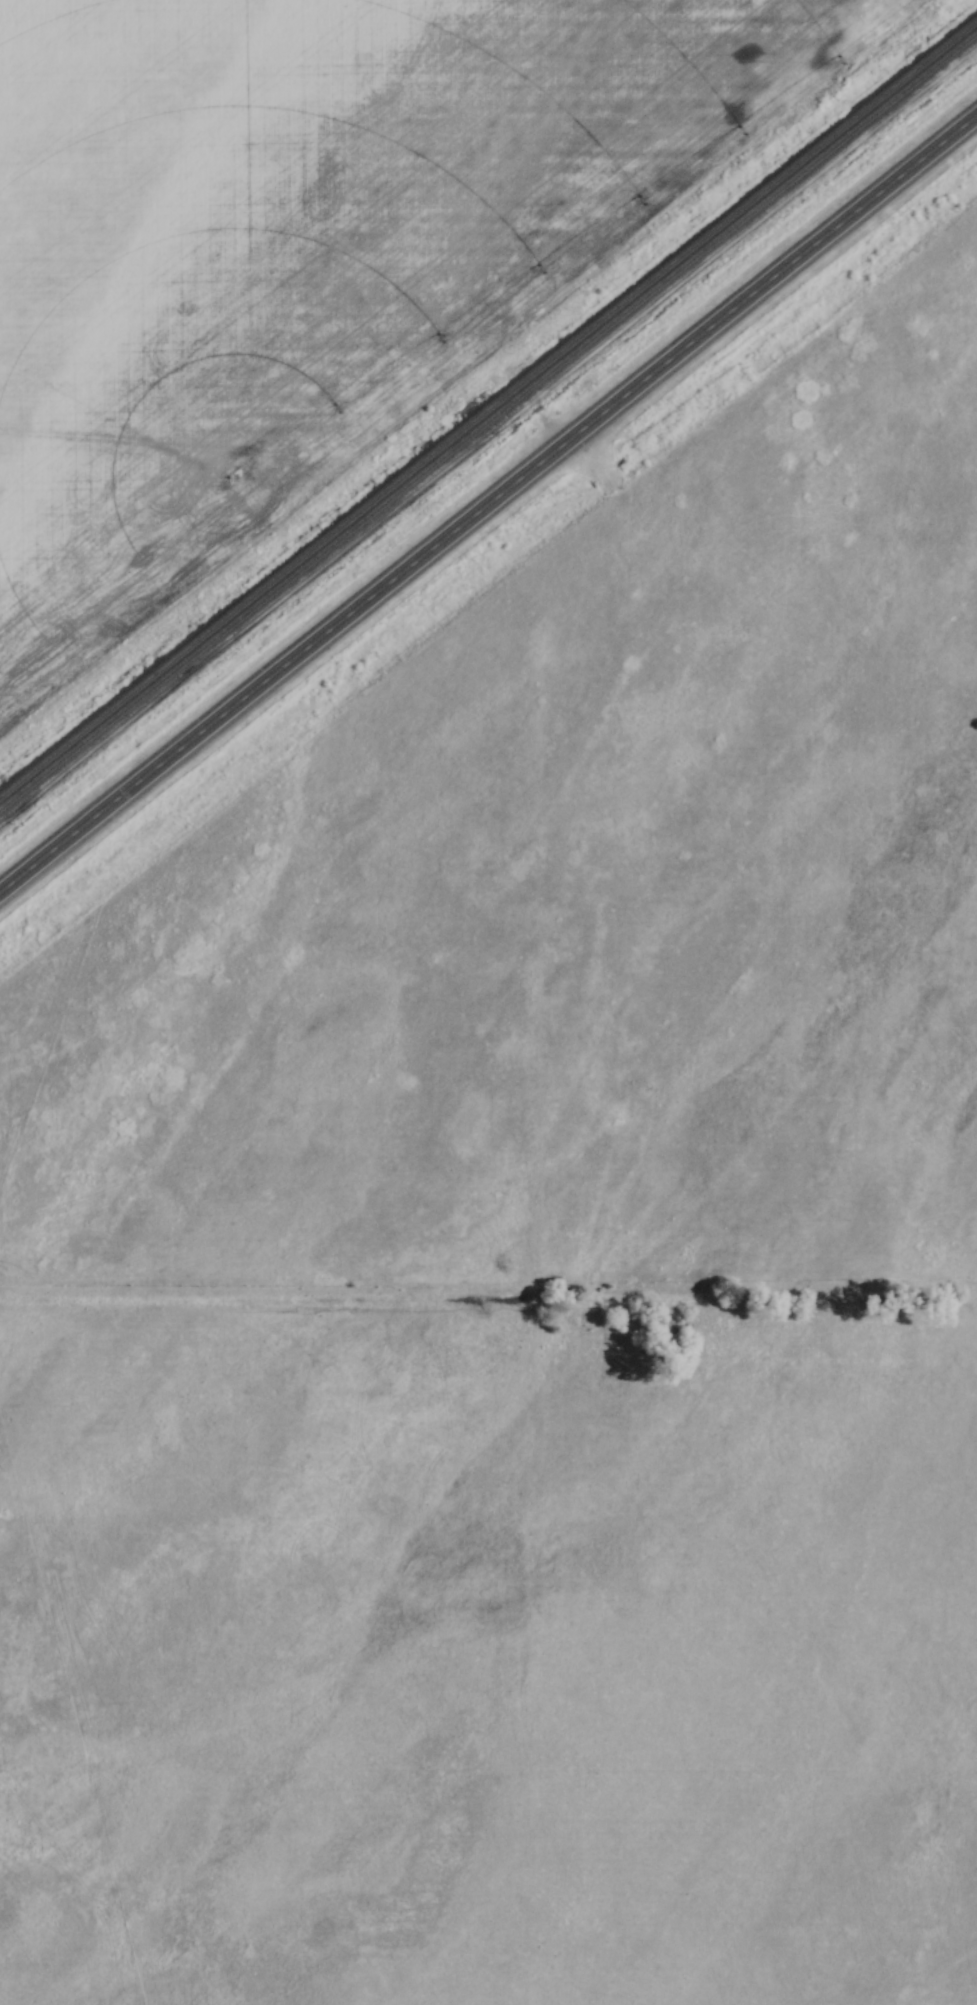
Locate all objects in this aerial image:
railway: (488, 406)
railway: (489, 419)
road: (489, 505)

